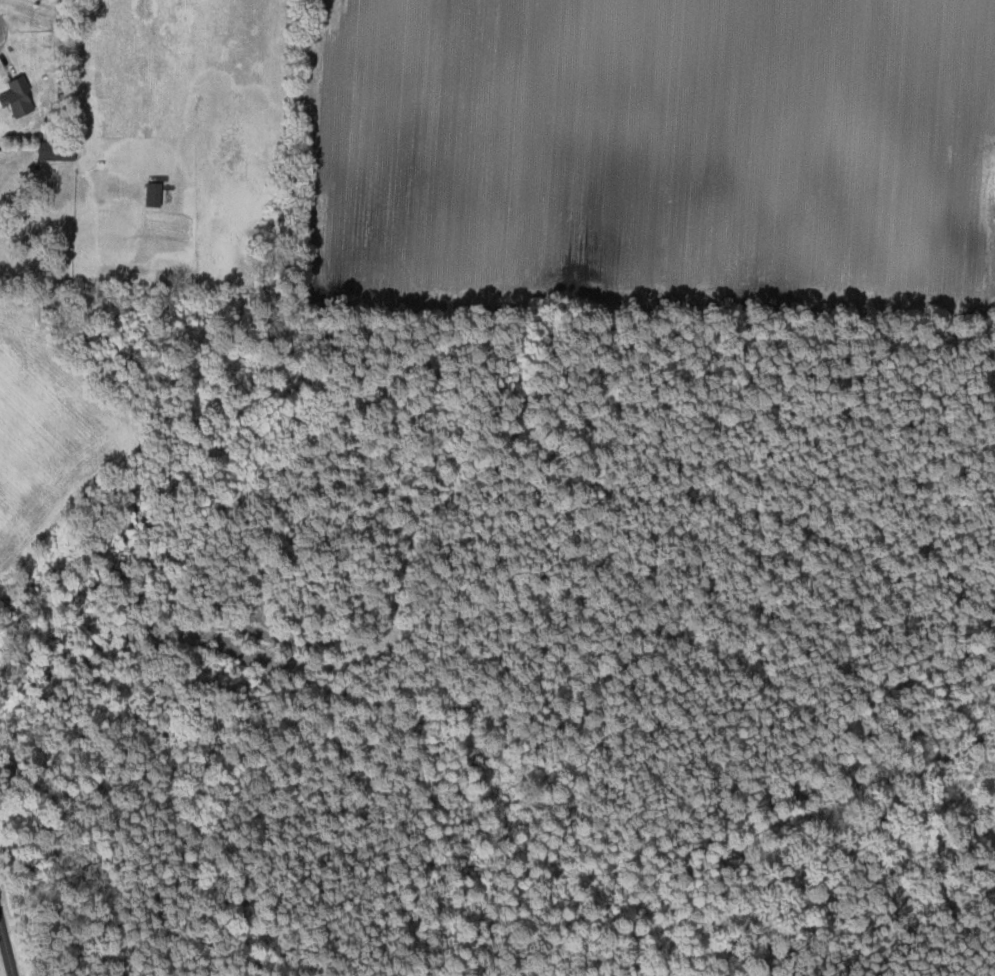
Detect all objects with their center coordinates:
building: (19, 96)
building: (57, 149)
building: (155, 192)
road: (4, 958)

